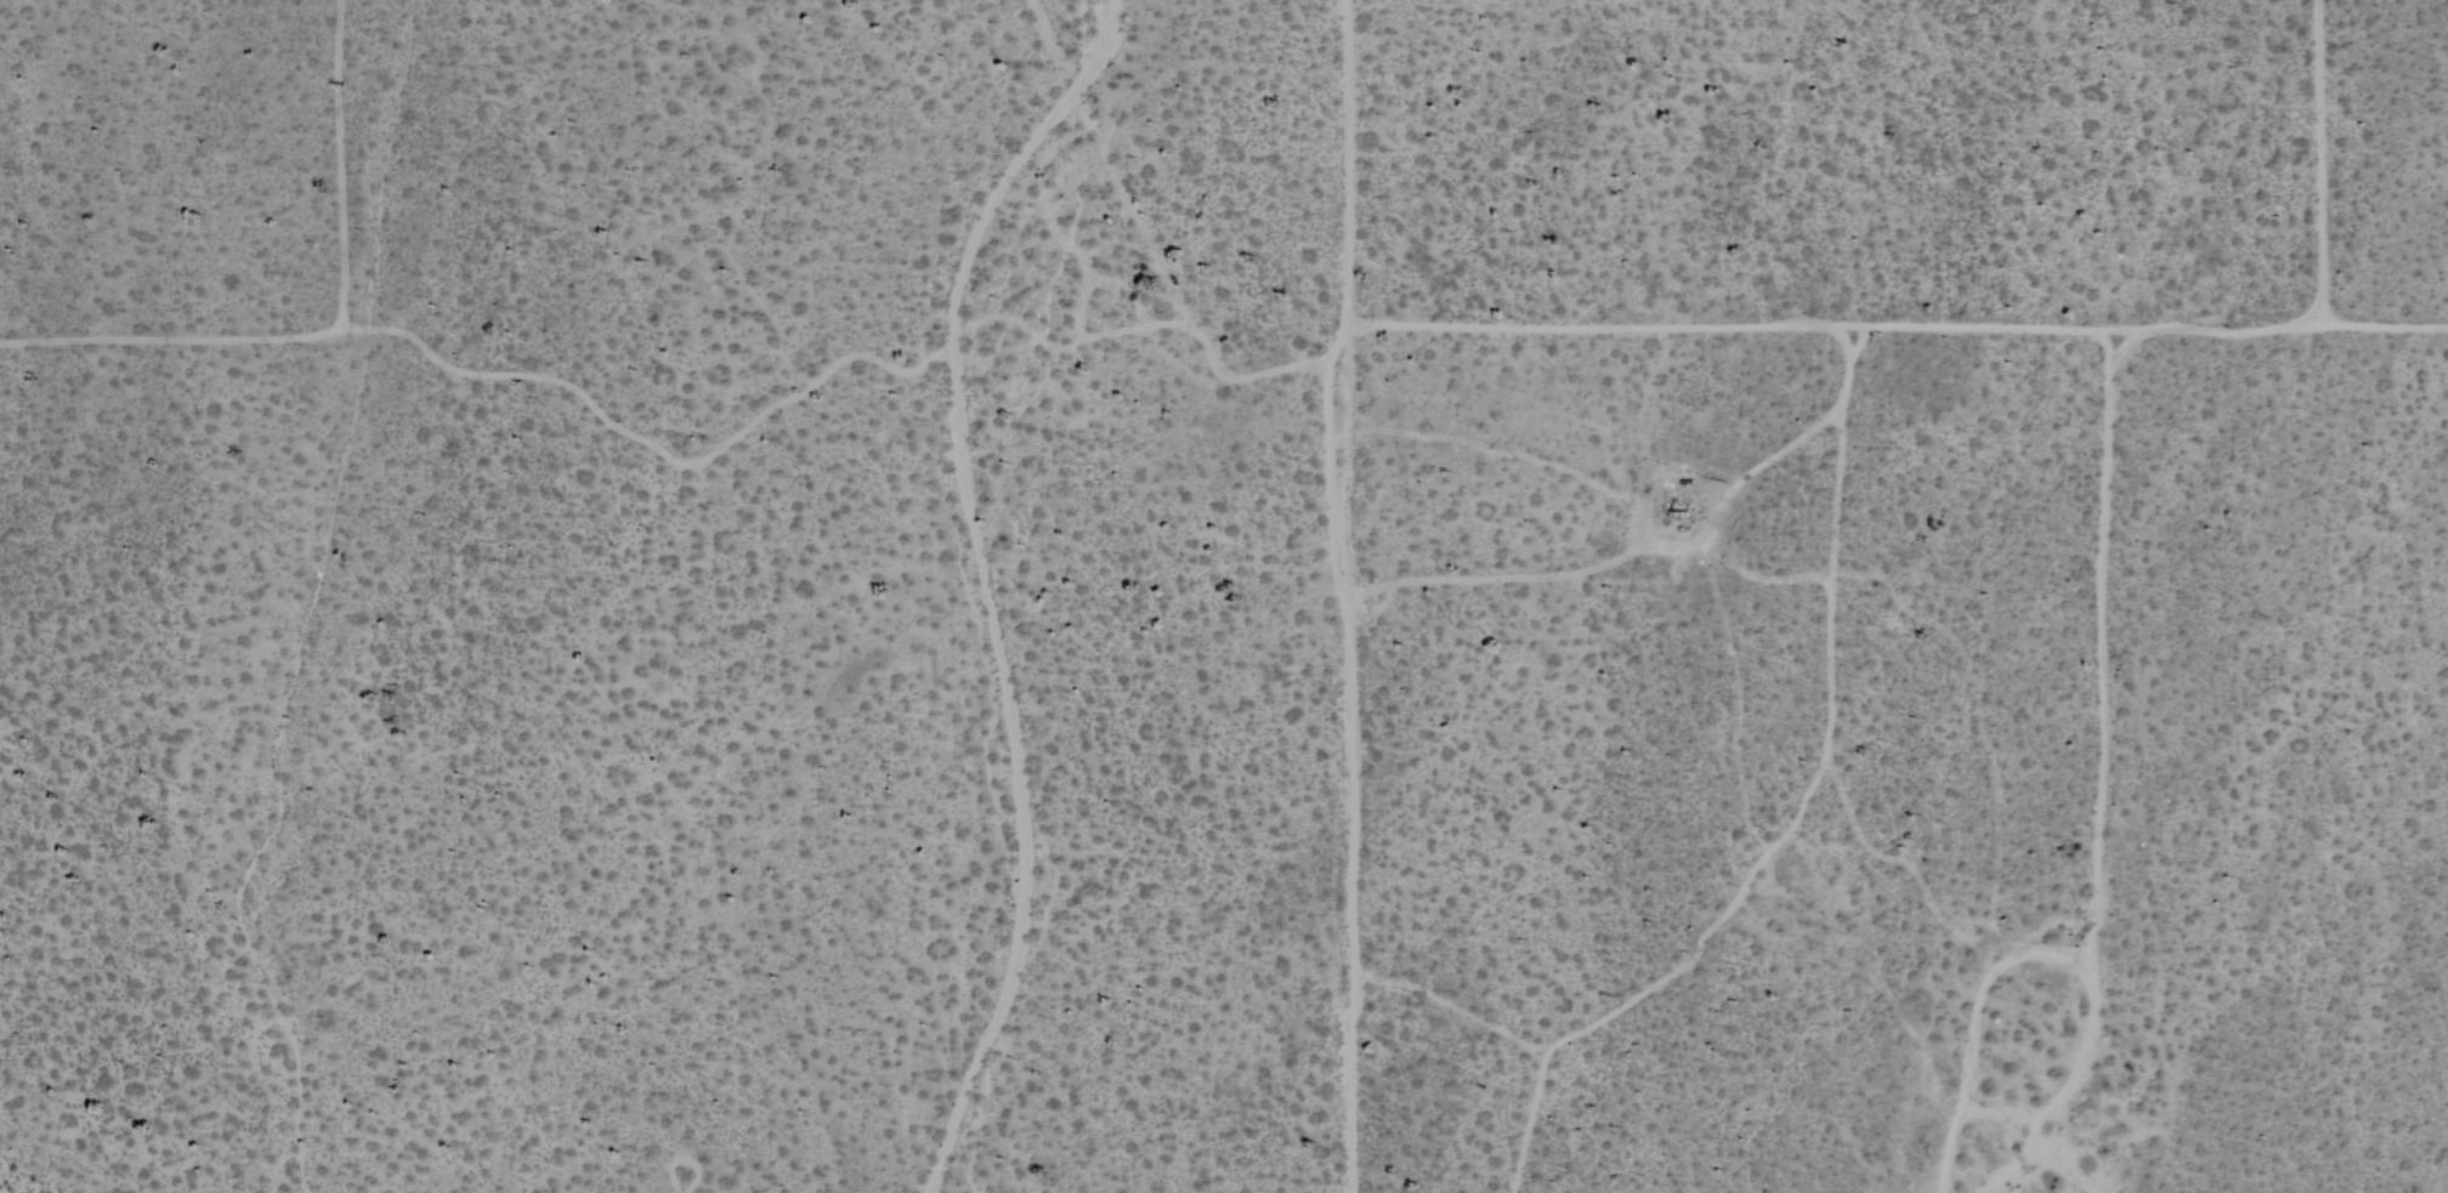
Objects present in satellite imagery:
road: (2324, 163)
road: (1900, 326)
road: (1355, 596)

